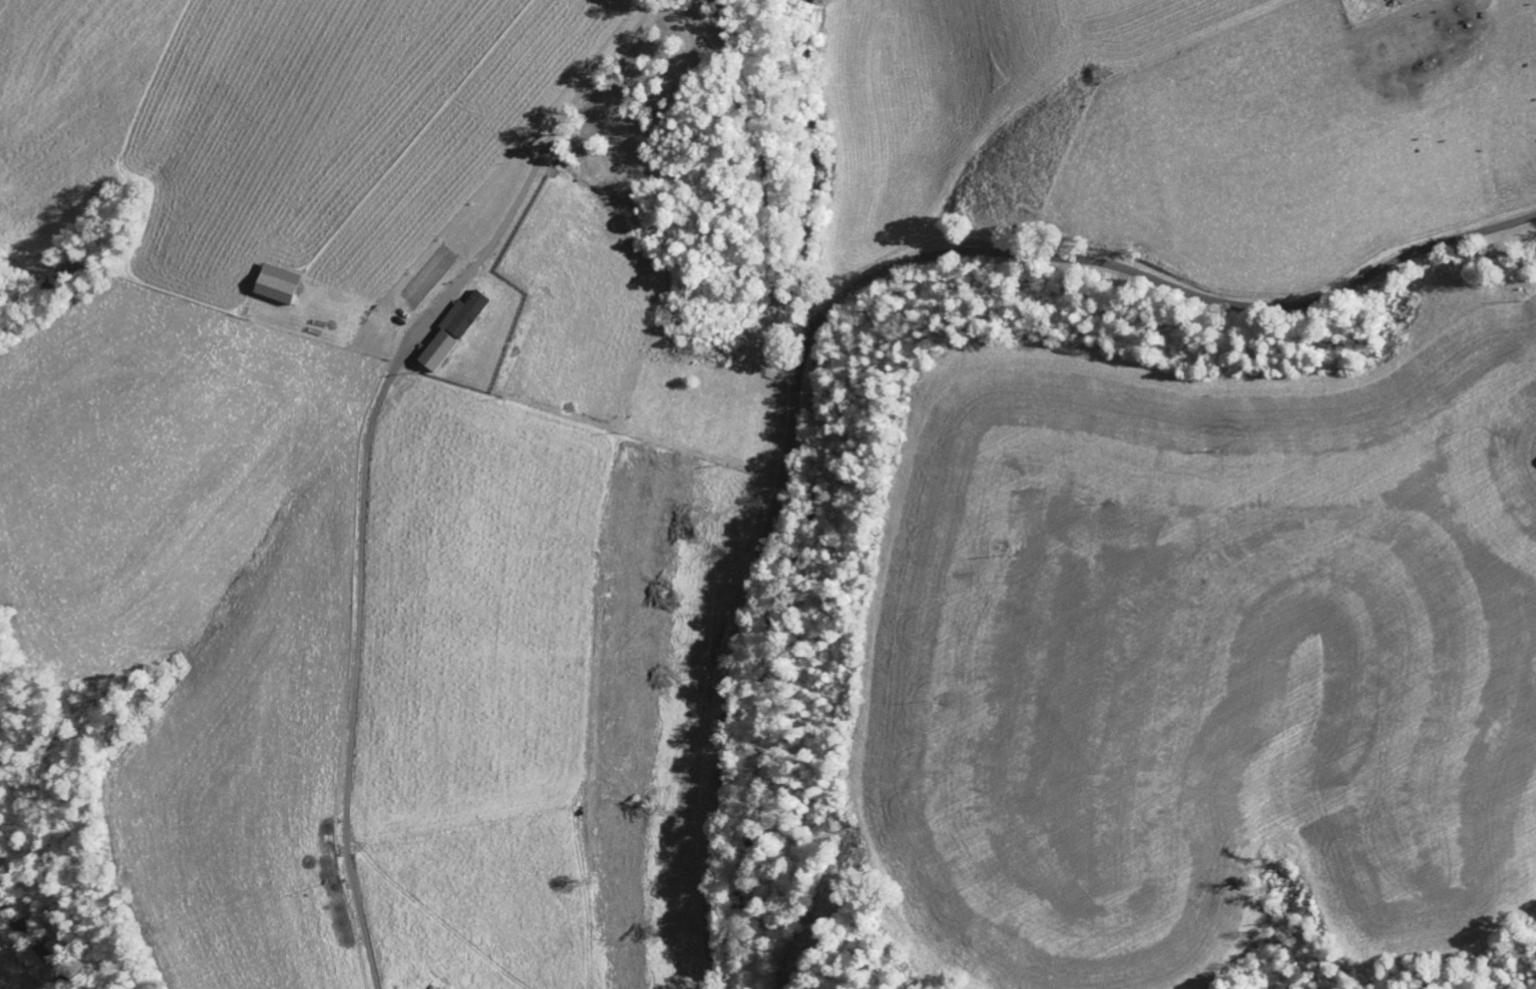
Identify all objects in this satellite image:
road: (654, 8)
road: (847, 290)
building: (452, 327)
road: (355, 665)

